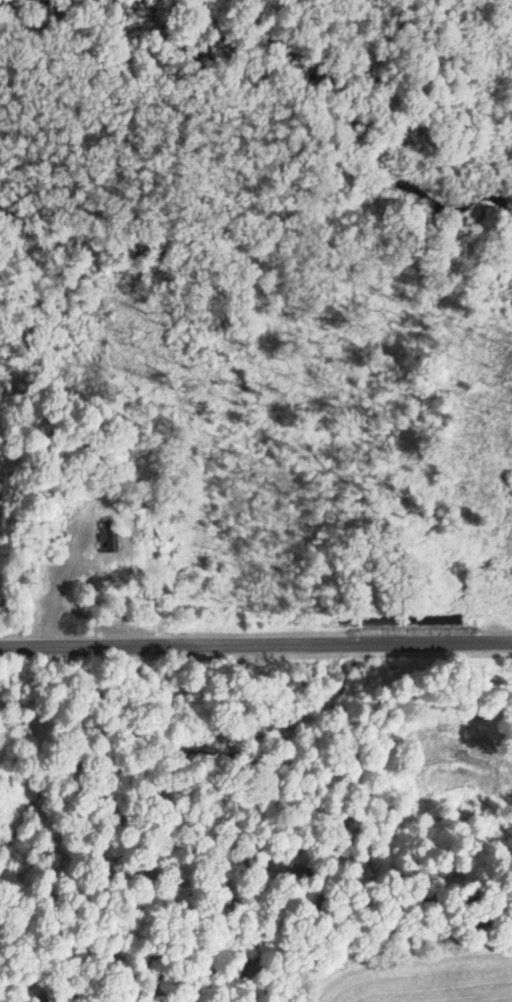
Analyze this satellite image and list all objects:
building: (108, 536)
road: (256, 645)

